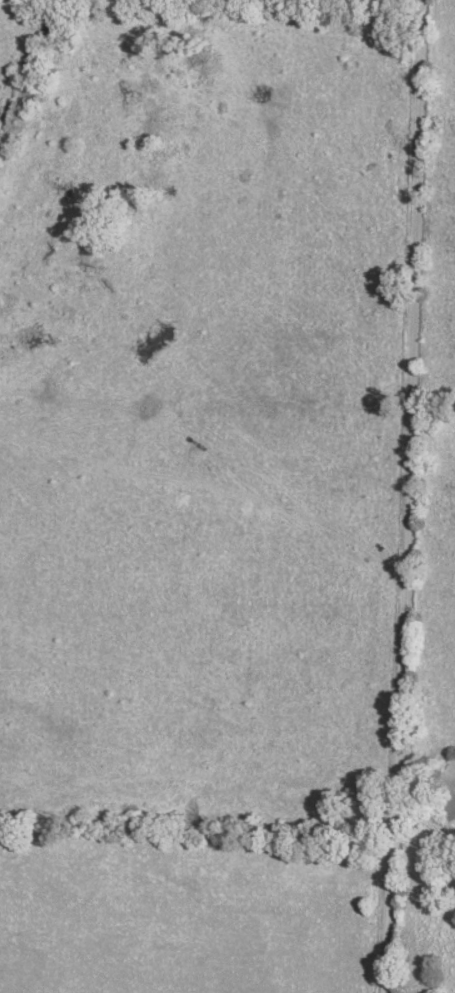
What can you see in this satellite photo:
road: (227, 401)
road: (408, 496)

